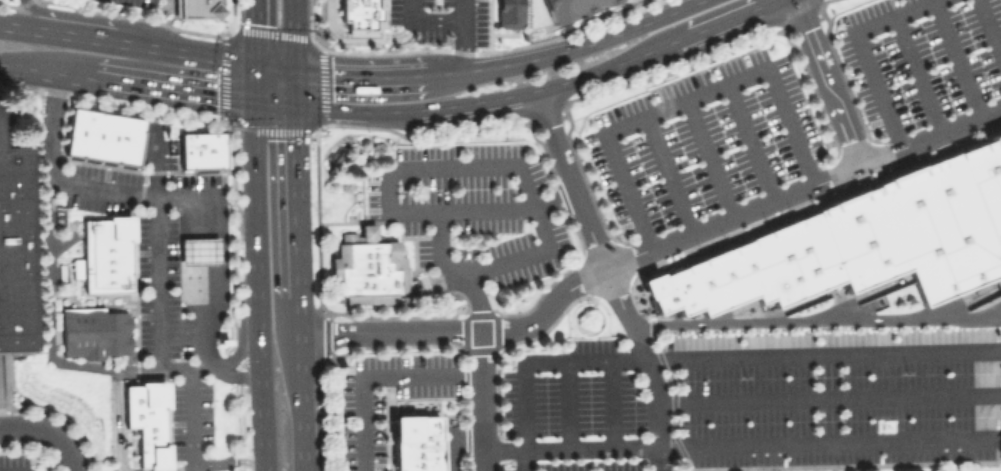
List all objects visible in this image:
parking lot: (135, 2)
building: (198, 8)
building: (359, 12)
building: (507, 12)
road: (38, 15)
parking lot: (440, 18)
road: (426, 19)
road: (717, 22)
road: (989, 28)
road: (256, 31)
road: (360, 34)
road: (462, 34)
road: (293, 35)
road: (128, 42)
road: (570, 48)
road: (861, 49)
parking lot: (920, 56)
road: (957, 59)
traffic signals: (256, 63)
road: (275, 66)
traffic signals: (294, 70)
road: (29, 71)
road: (918, 74)
road: (363, 75)
road: (825, 82)
road: (256, 83)
road: (294, 88)
road: (156, 90)
road: (482, 100)
road: (686, 100)
traffic signals: (256, 104)
road: (275, 105)
traffic signals: (294, 107)
building: (103, 135)
road: (930, 135)
parking lot: (702, 140)
road: (751, 141)
building: (200, 150)
fountain: (333, 152)
road: (709, 158)
road: (156, 162)
road: (454, 164)
road: (669, 173)
building: (988, 173)
road: (257, 183)
road: (296, 185)
road: (171, 197)
road: (553, 198)
parking lot: (470, 208)
building: (941, 225)
building: (859, 237)
building: (15, 249)
building: (198, 251)
gas station: (198, 251)
building: (104, 254)
building: (793, 258)
building: (366, 267)
road: (454, 272)
road: (608, 277)
building: (724, 277)
road: (298, 279)
road: (582, 279)
road: (158, 283)
building: (669, 290)
road: (47, 300)
road: (576, 307)
road: (299, 315)
road: (815, 321)
road: (242, 326)
building: (94, 332)
road: (707, 356)
road: (262, 366)
road: (181, 369)
road: (232, 376)
road: (374, 377)
road: (301, 396)
road: (116, 399)
road: (828, 400)
road: (481, 401)
road: (613, 402)
road: (569, 403)
parking lot: (745, 410)
parking lot: (189, 415)
road: (190, 418)
building: (147, 420)
road: (36, 426)
parking lot: (363, 433)
road: (993, 436)
road: (453, 438)
building: (415, 442)
road: (733, 444)
road: (72, 457)
road: (229, 459)
parking lot: (15, 462)
road: (303, 464)
road: (11, 469)
road: (185, 469)

